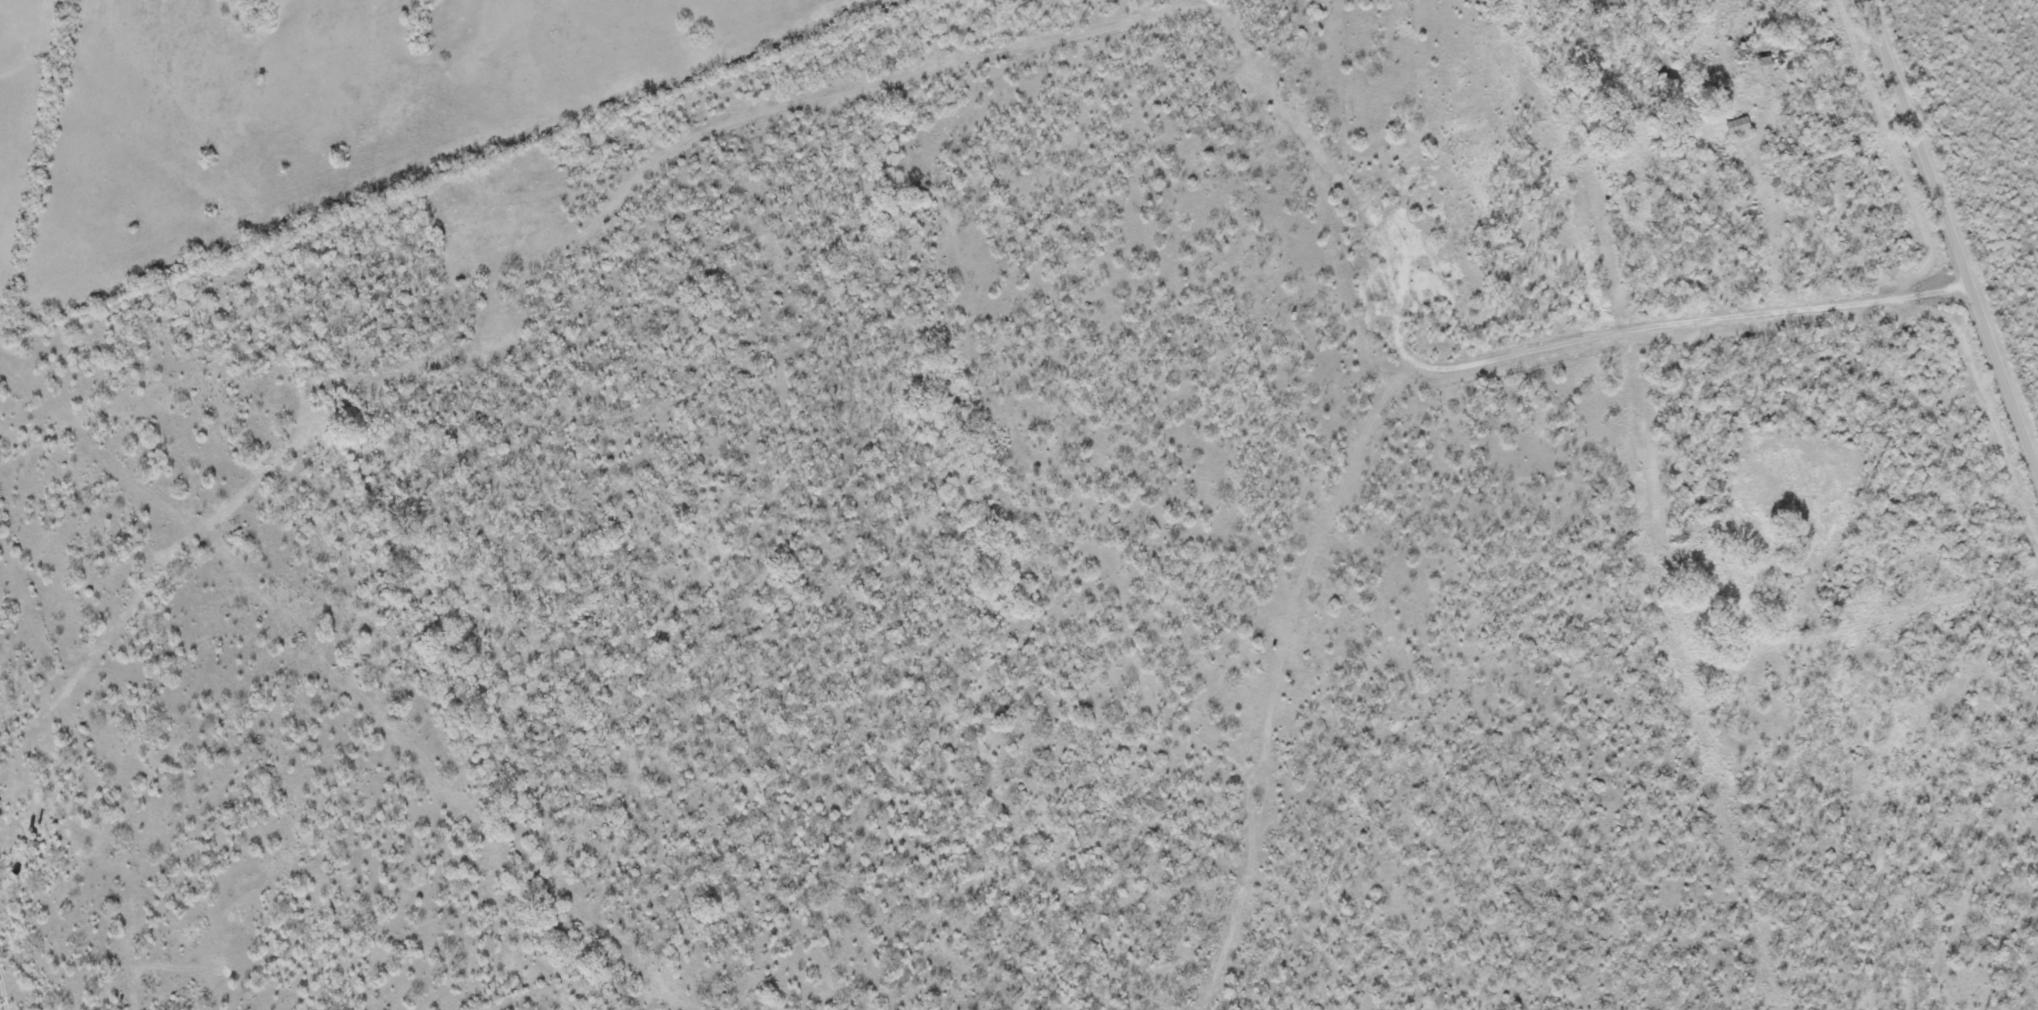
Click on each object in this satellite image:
building: (1762, 65)
building: (1735, 126)
road: (1952, 233)
road: (4, 993)

